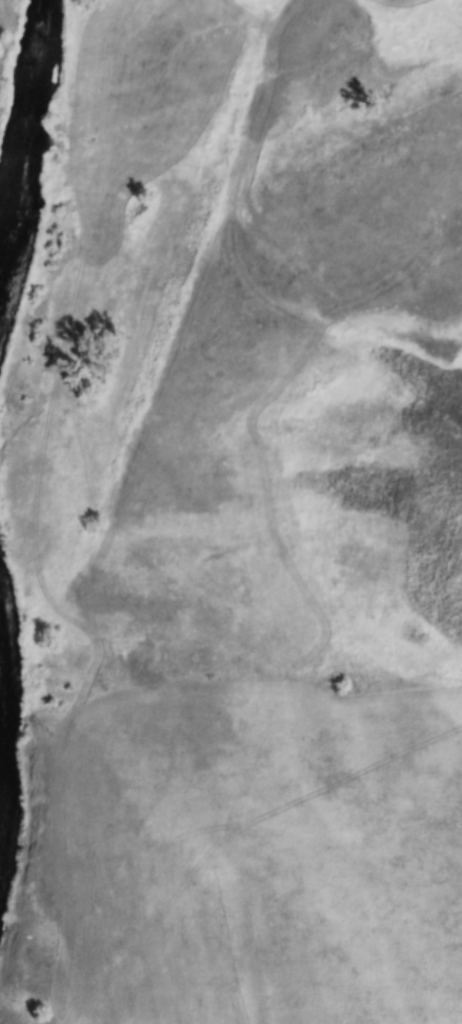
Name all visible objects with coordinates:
river: (16, 155)

